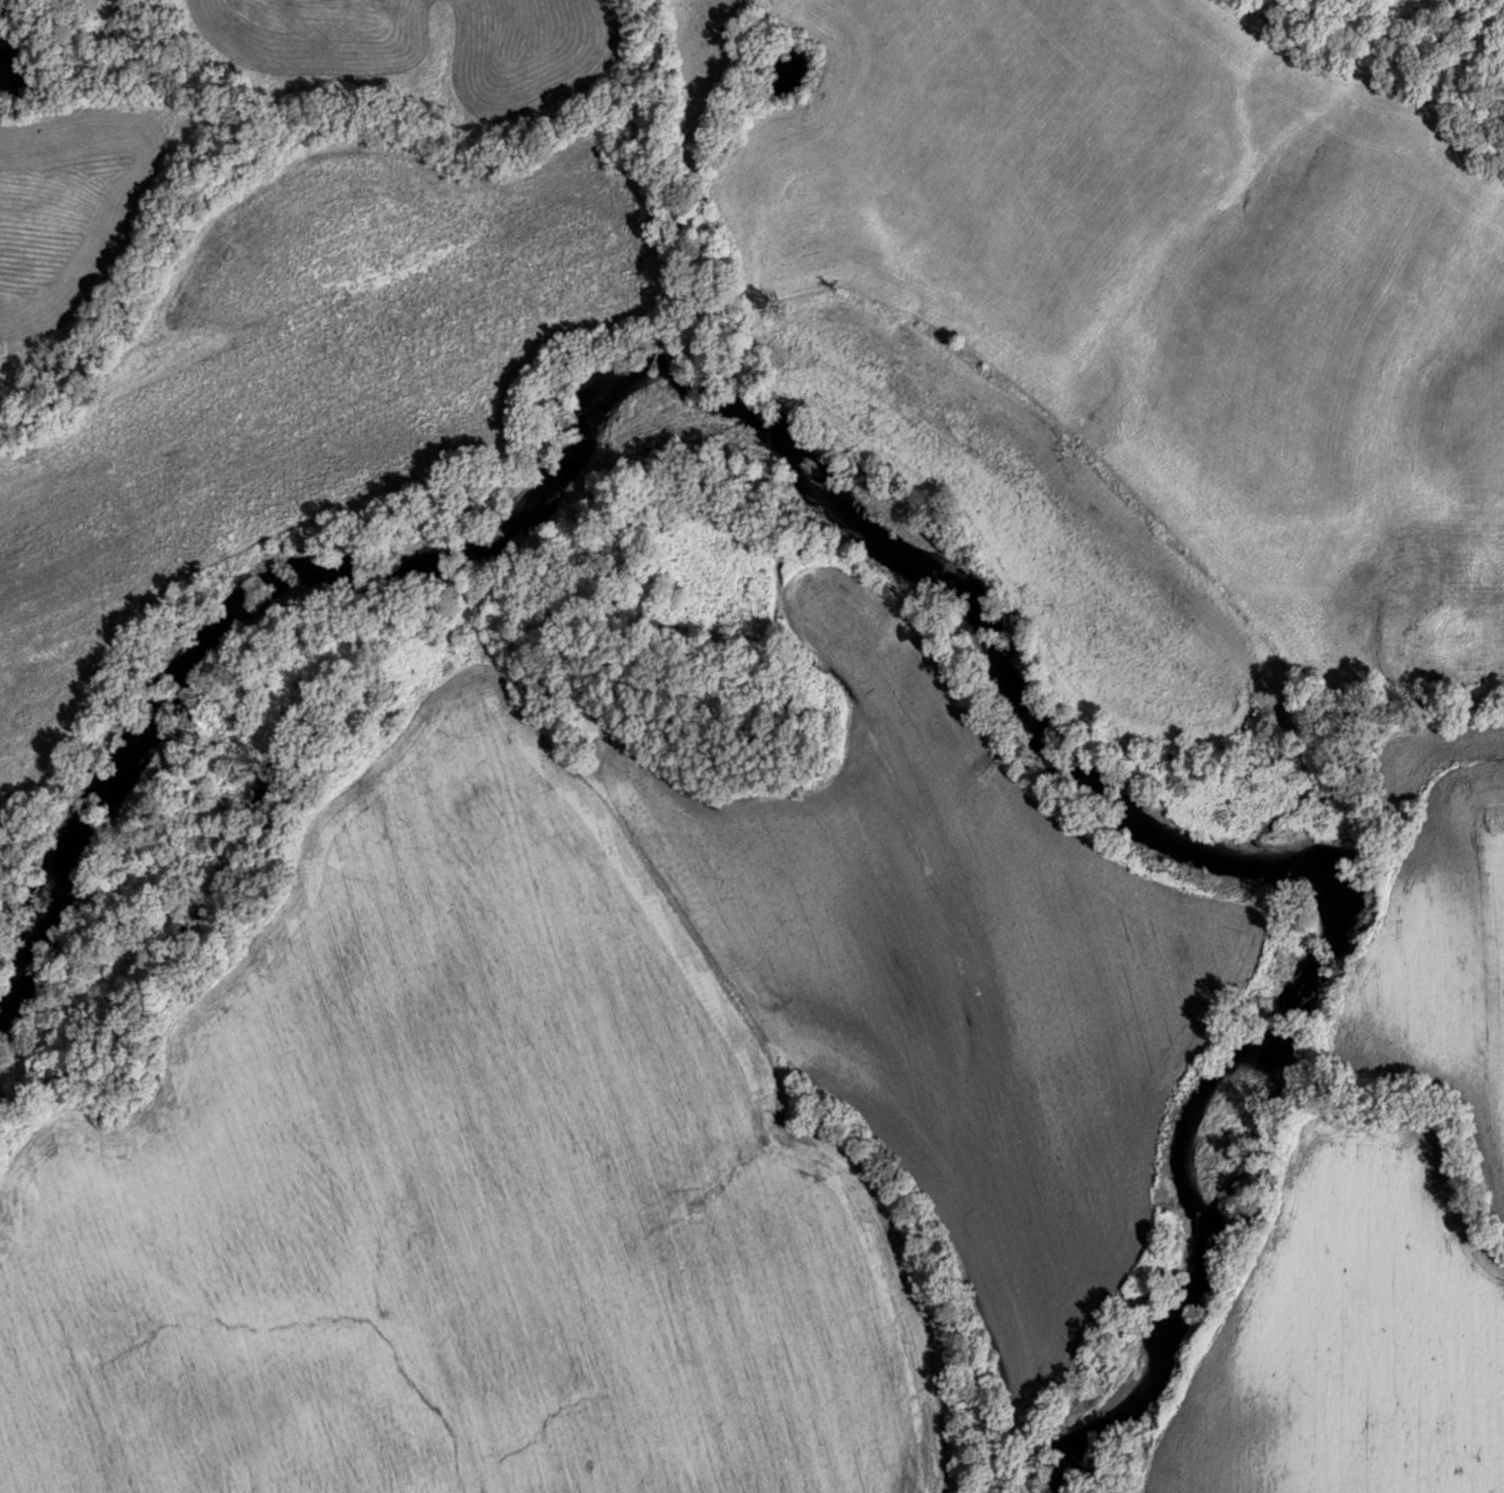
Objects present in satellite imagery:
river: (871, 540)

